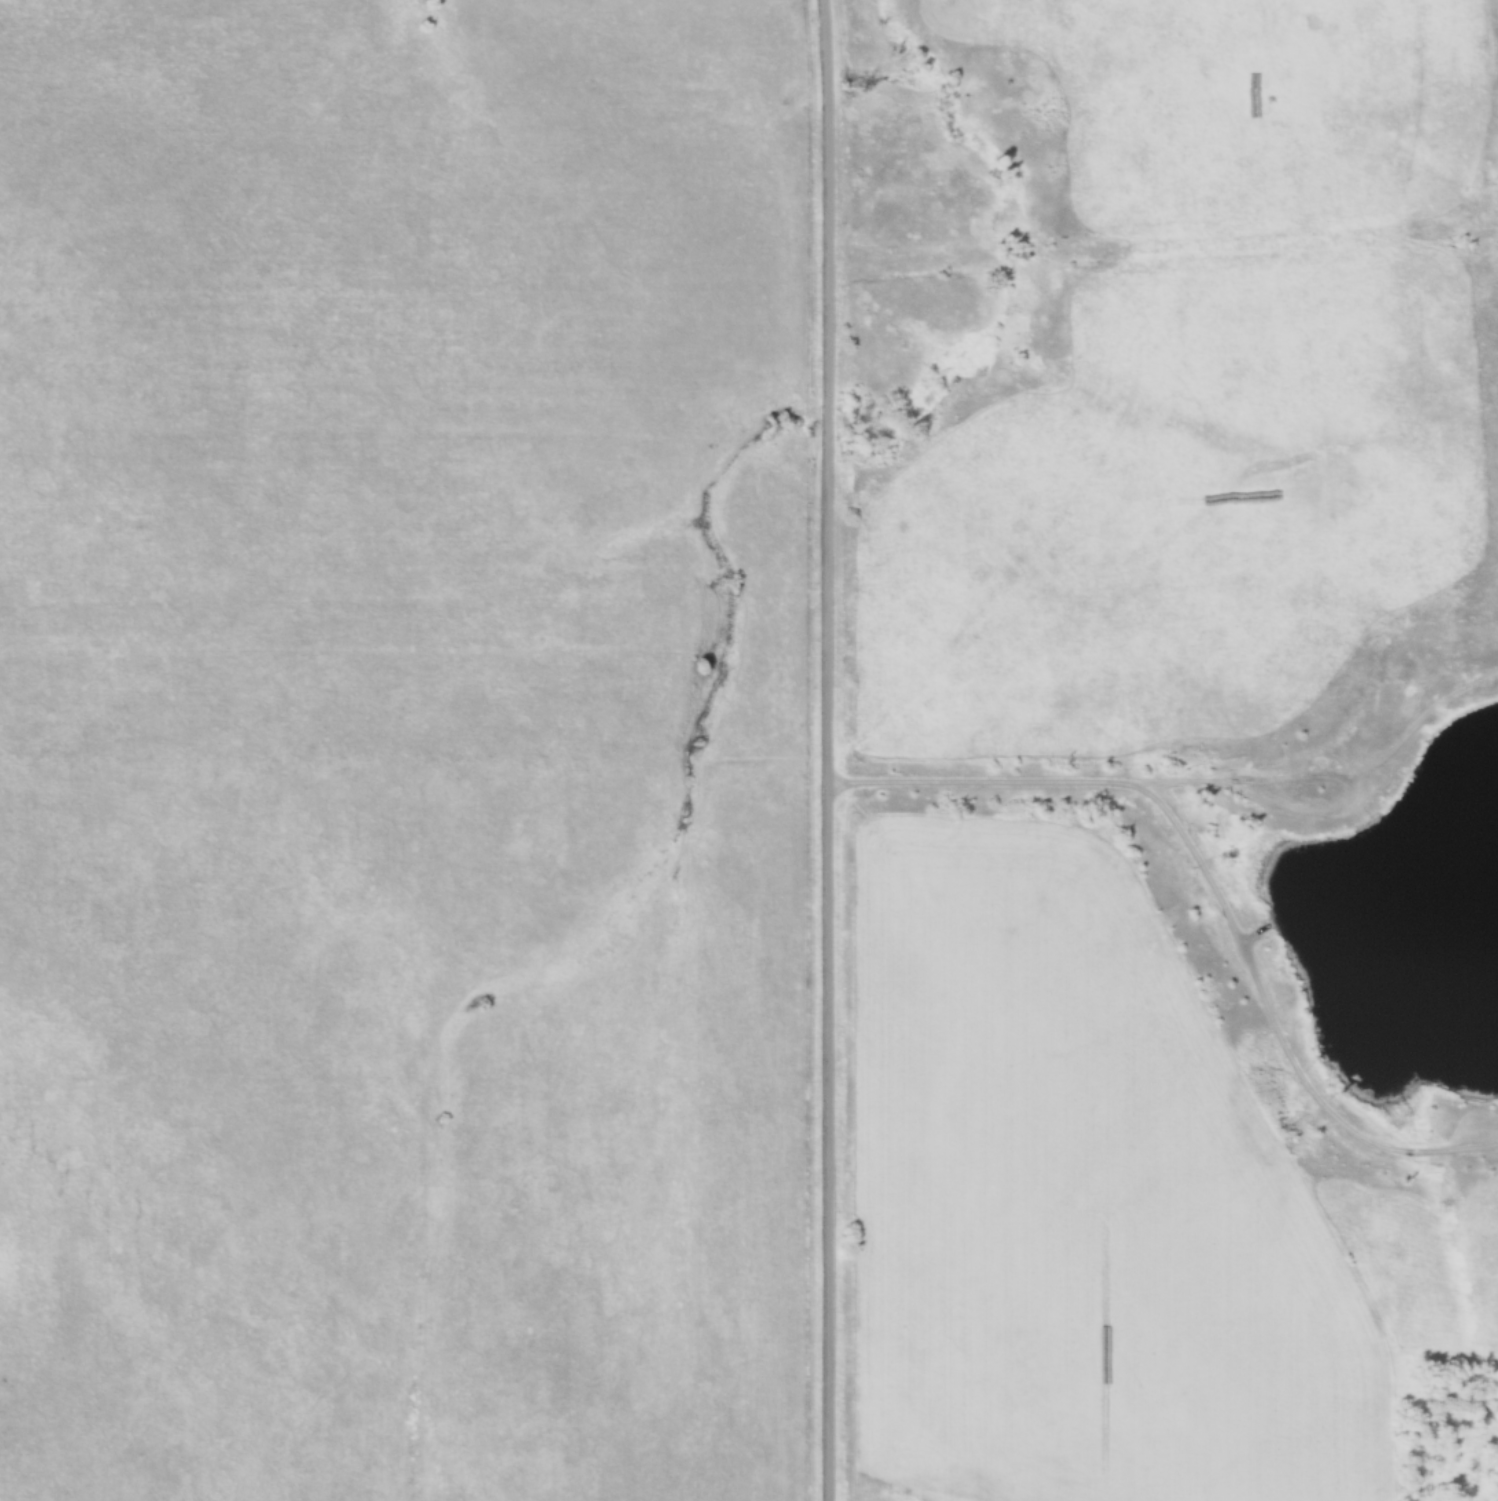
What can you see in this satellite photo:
road: (826, 750)
road: (1342, 795)
road: (1206, 887)

